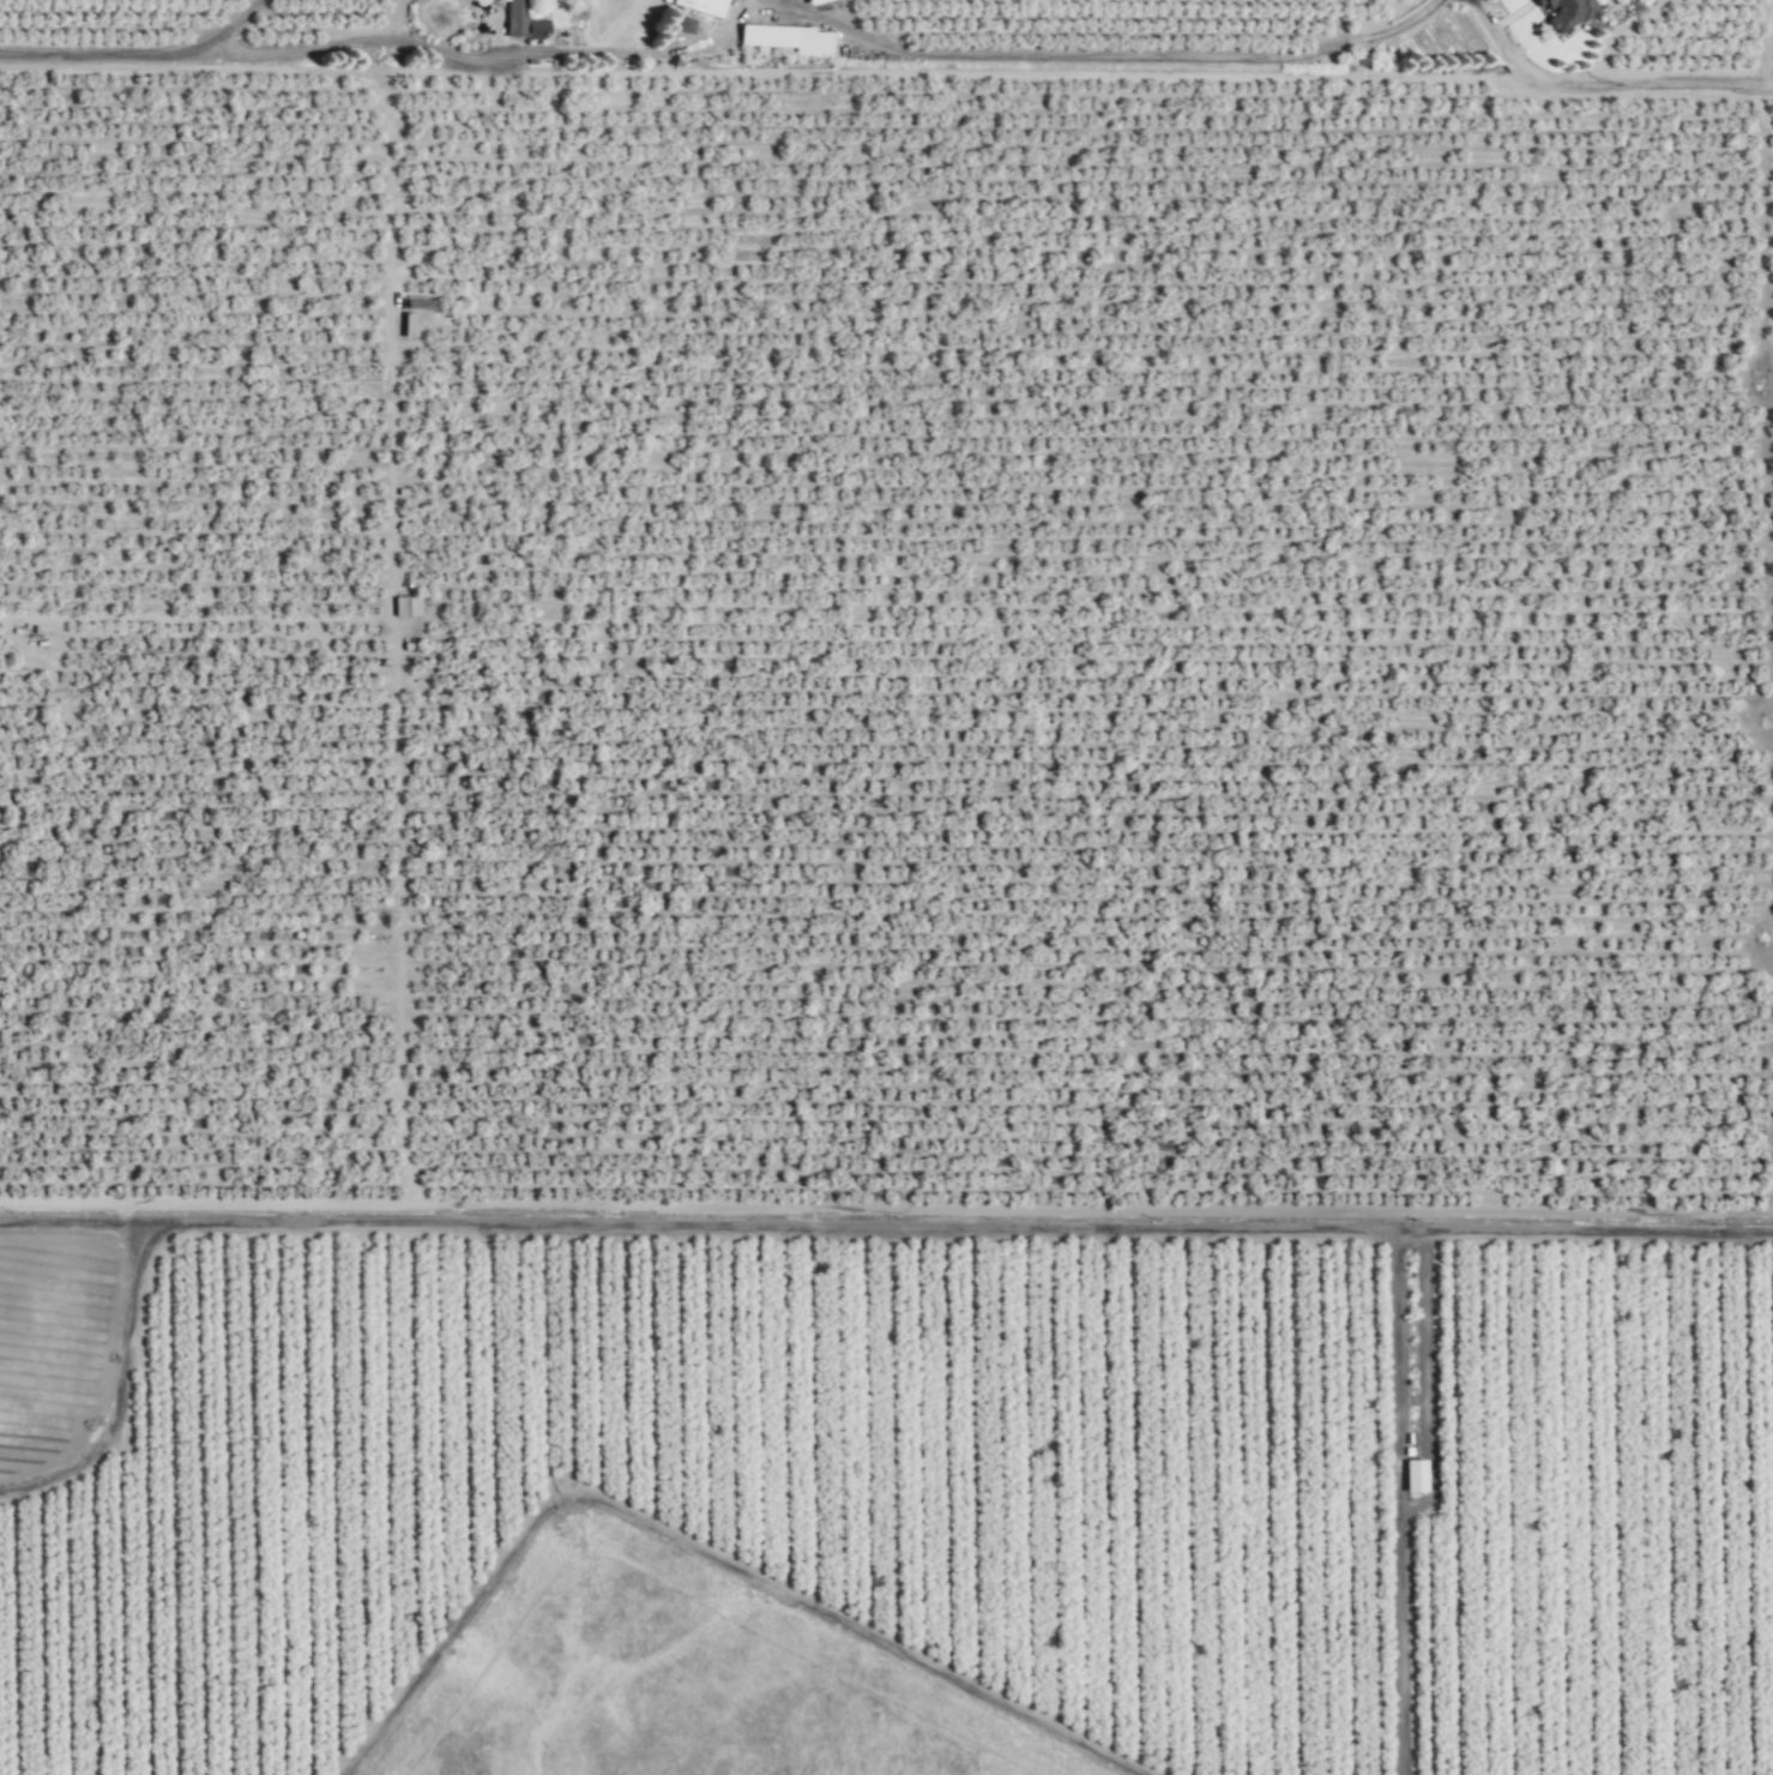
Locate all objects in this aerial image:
road: (766, 5)
building: (699, 6)
road: (1431, 12)
building: (519, 22)
road: (229, 25)
road: (293, 50)
road: (1177, 55)
building: (412, 314)
building: (404, 607)
crop: (889, 607)
crop: (894, 855)
road: (886, 1221)
road: (1416, 1498)

